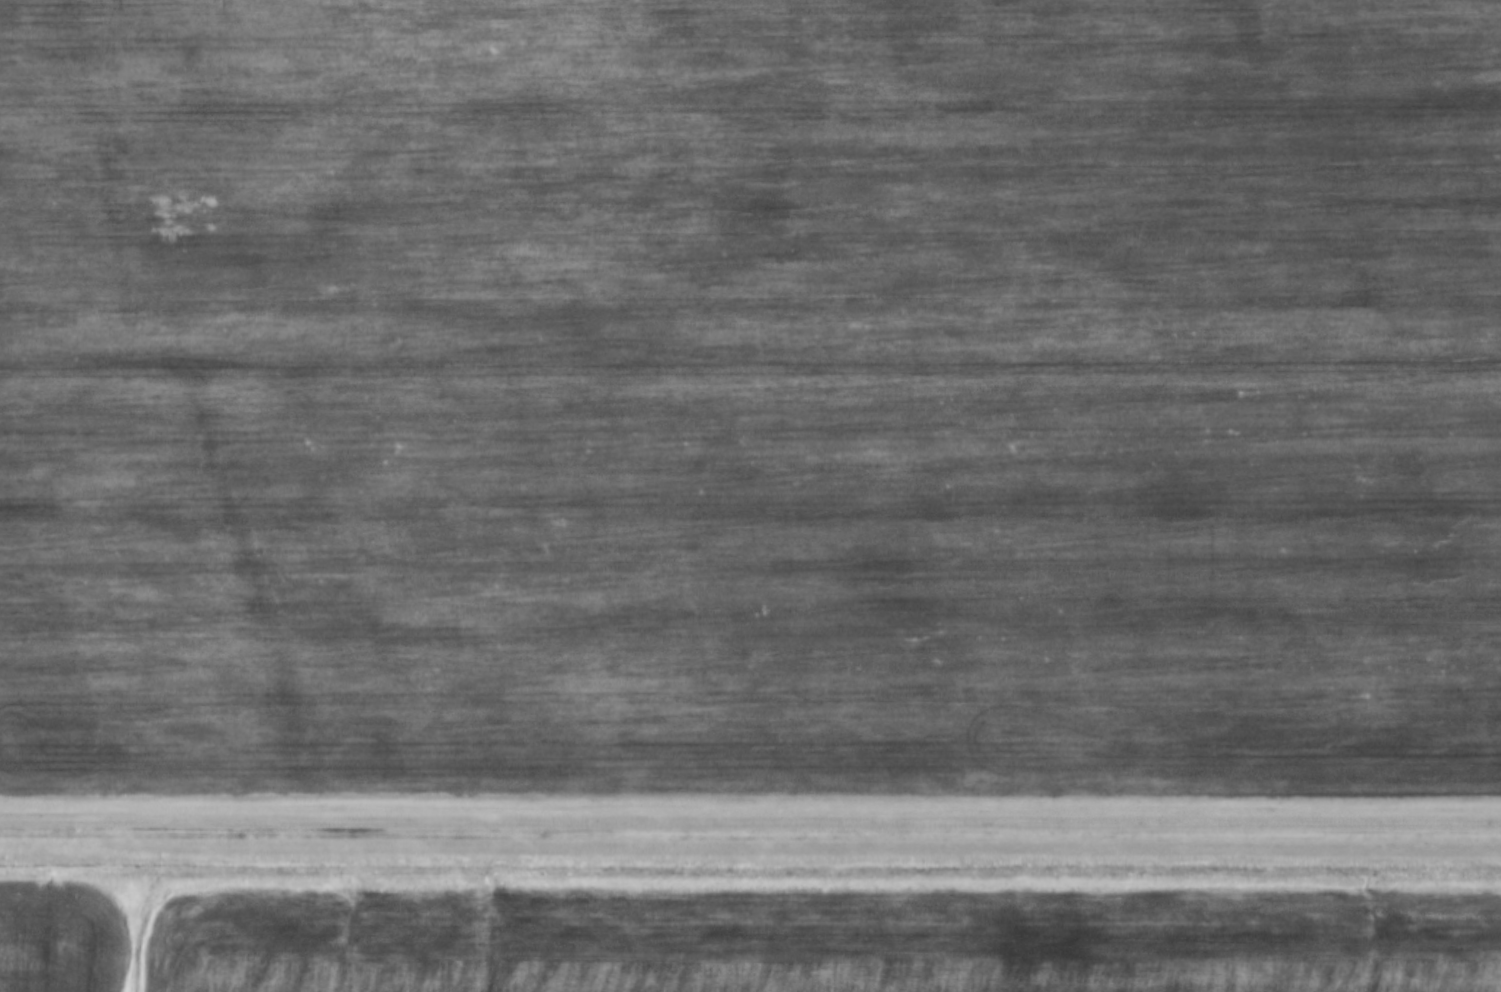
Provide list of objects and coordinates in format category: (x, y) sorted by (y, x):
road: (750, 839)

